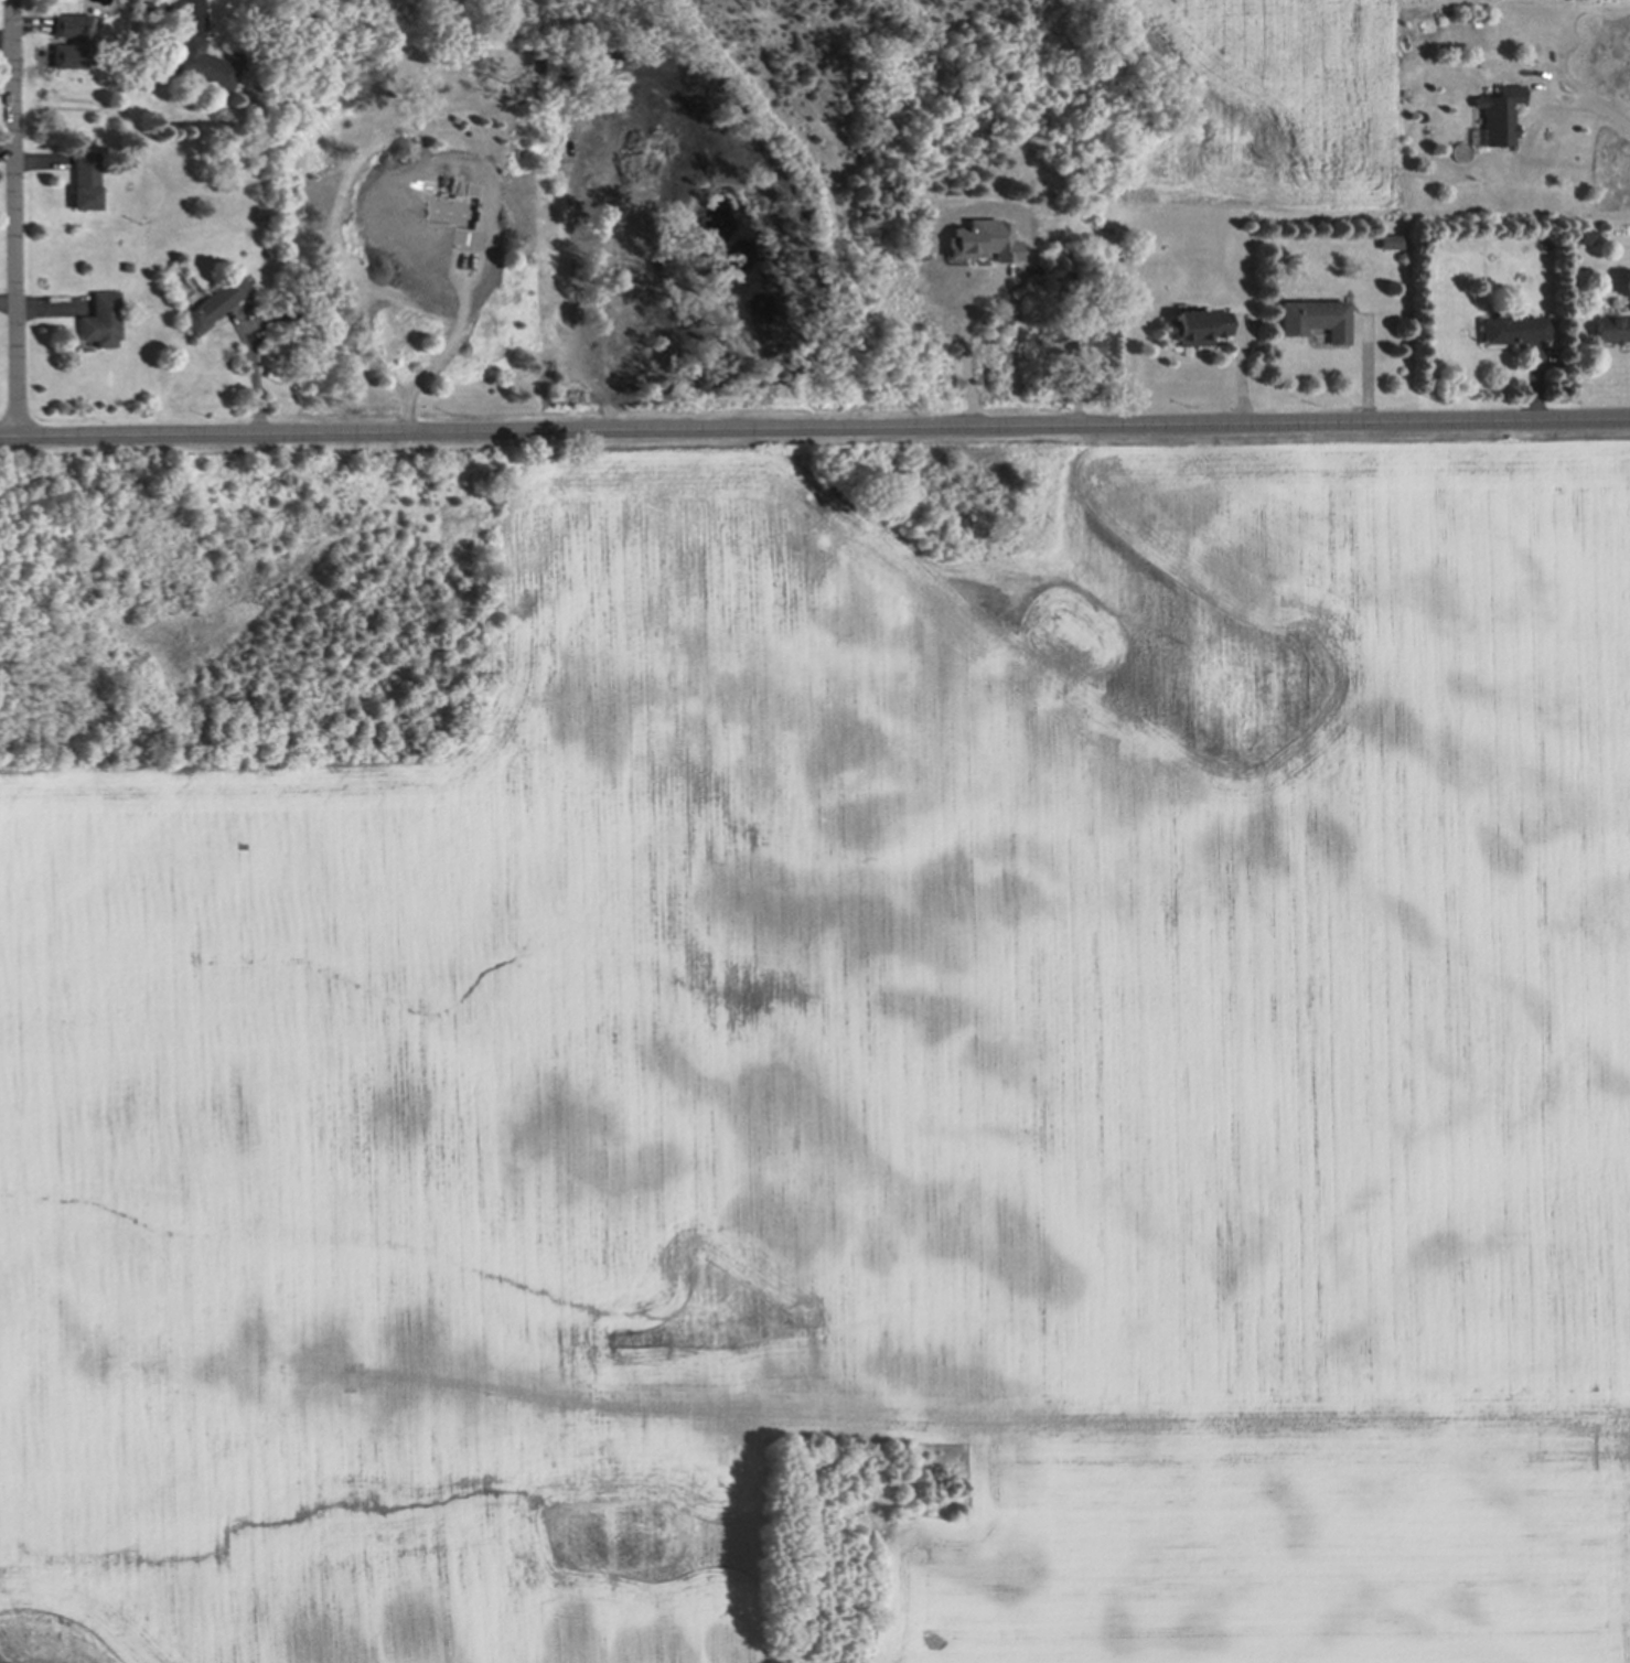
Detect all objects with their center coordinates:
road: (203, 6)
building: (149, 7)
building: (1480, 14)
building: (73, 42)
building: (206, 60)
building: (245, 96)
road: (1585, 99)
building: (1498, 120)
building: (238, 161)
building: (86, 179)
road: (17, 218)
building: (1585, 236)
building: (1390, 239)
building: (985, 242)
building: (124, 267)
building: (214, 304)
building: (1628, 304)
building: (1313, 315)
building: (97, 322)
building: (1194, 322)
building: (1513, 325)
building: (1610, 328)
road: (971, 341)
building: (1082, 343)
building: (297, 348)
road: (446, 357)
road: (254, 374)
road: (815, 428)

